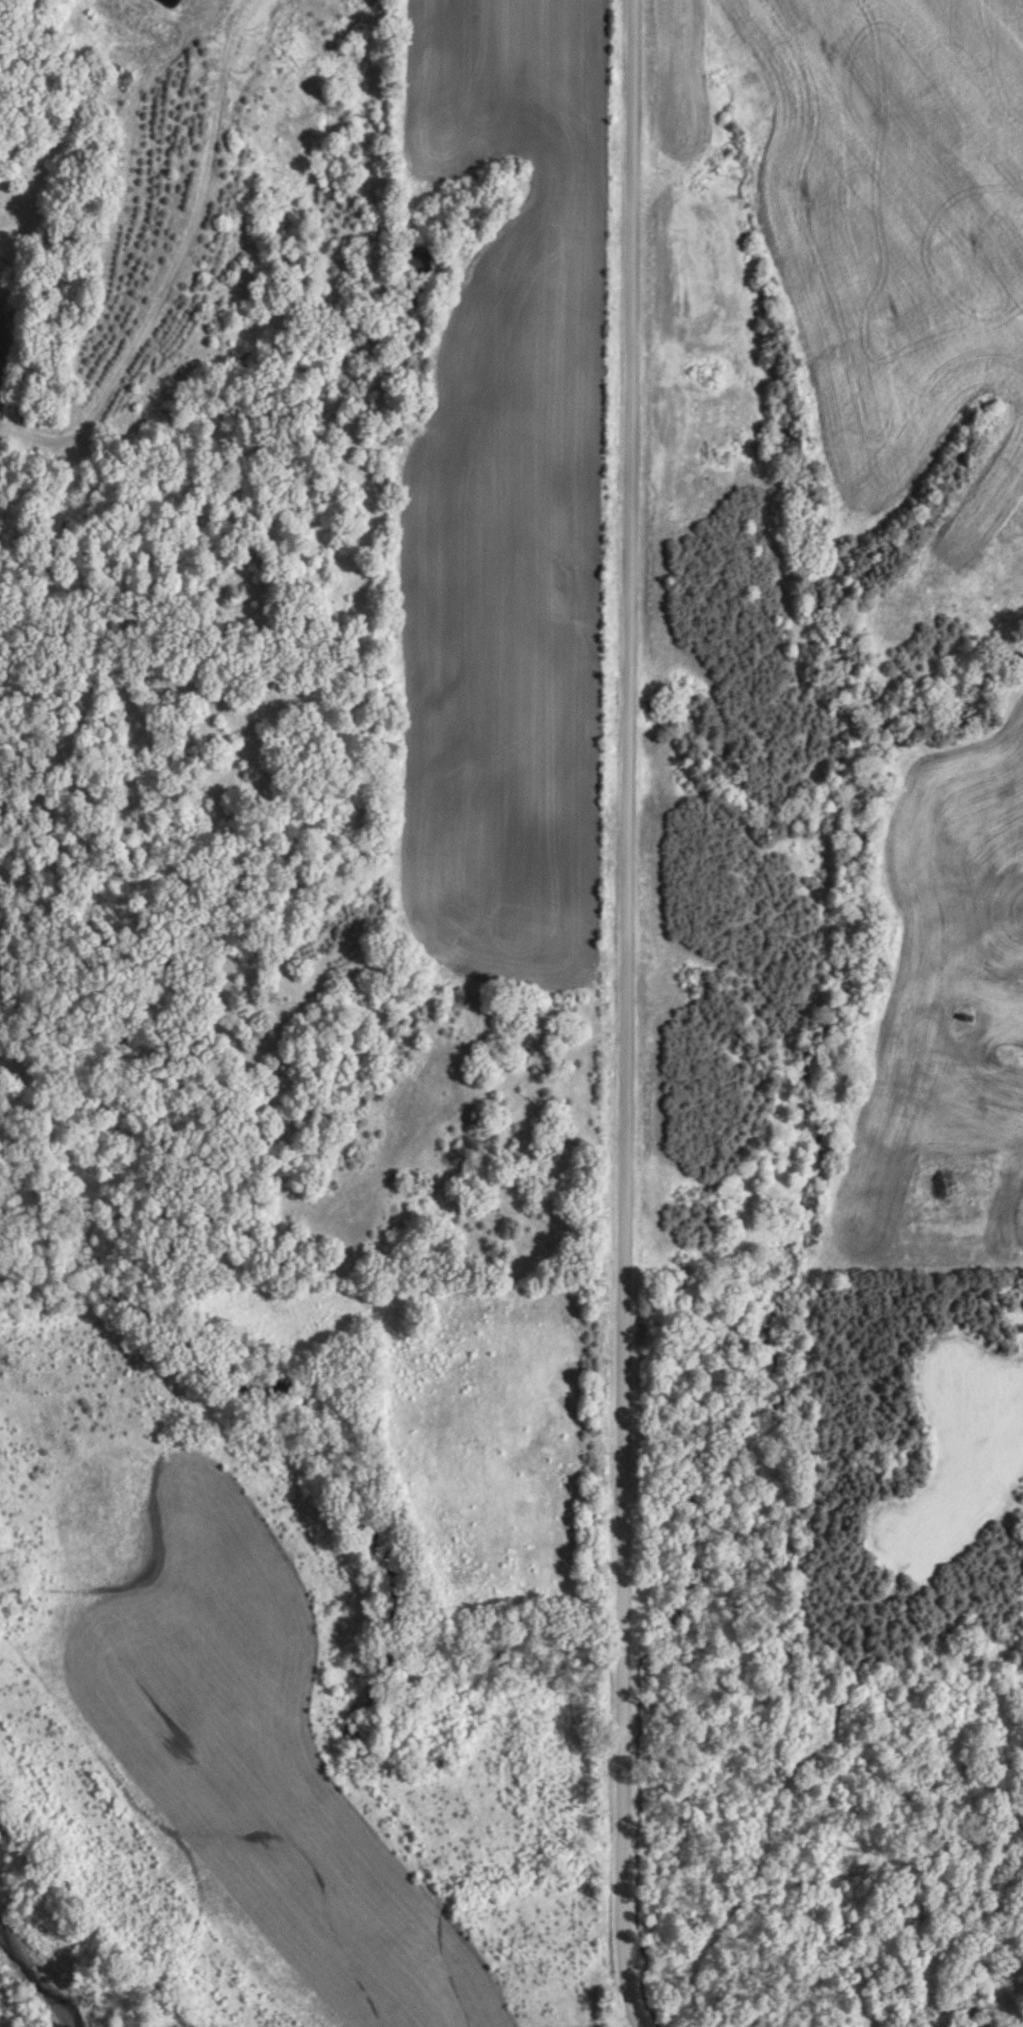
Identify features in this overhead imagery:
road: (639, 1014)

